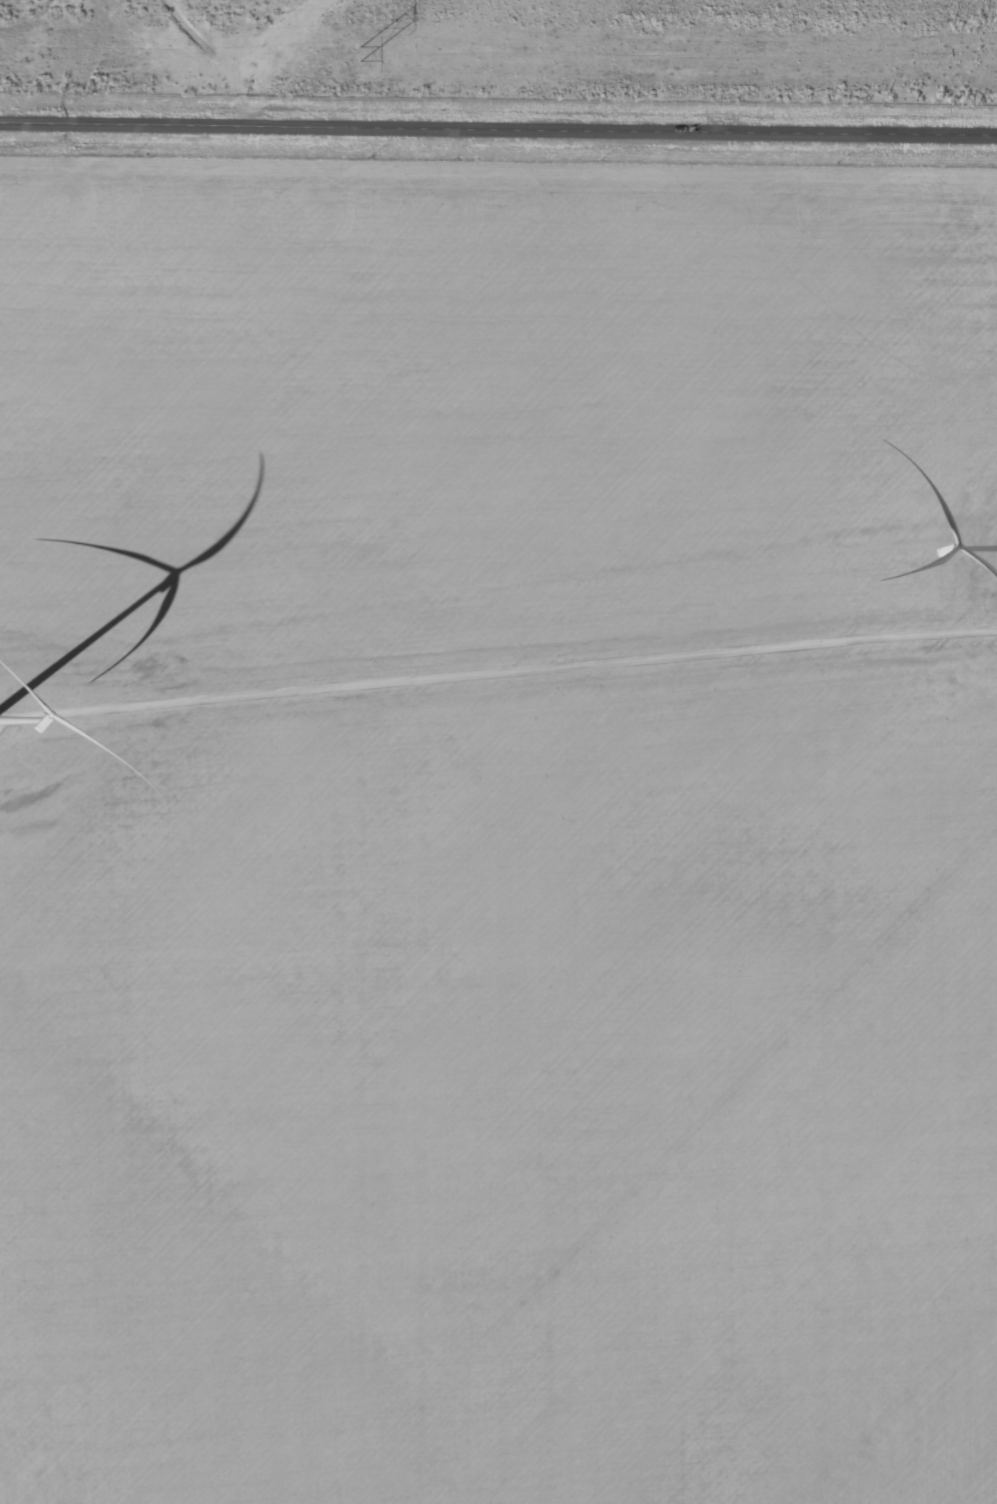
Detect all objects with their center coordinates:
power tower: (364, 54)
road: (139, 63)
road: (498, 131)

